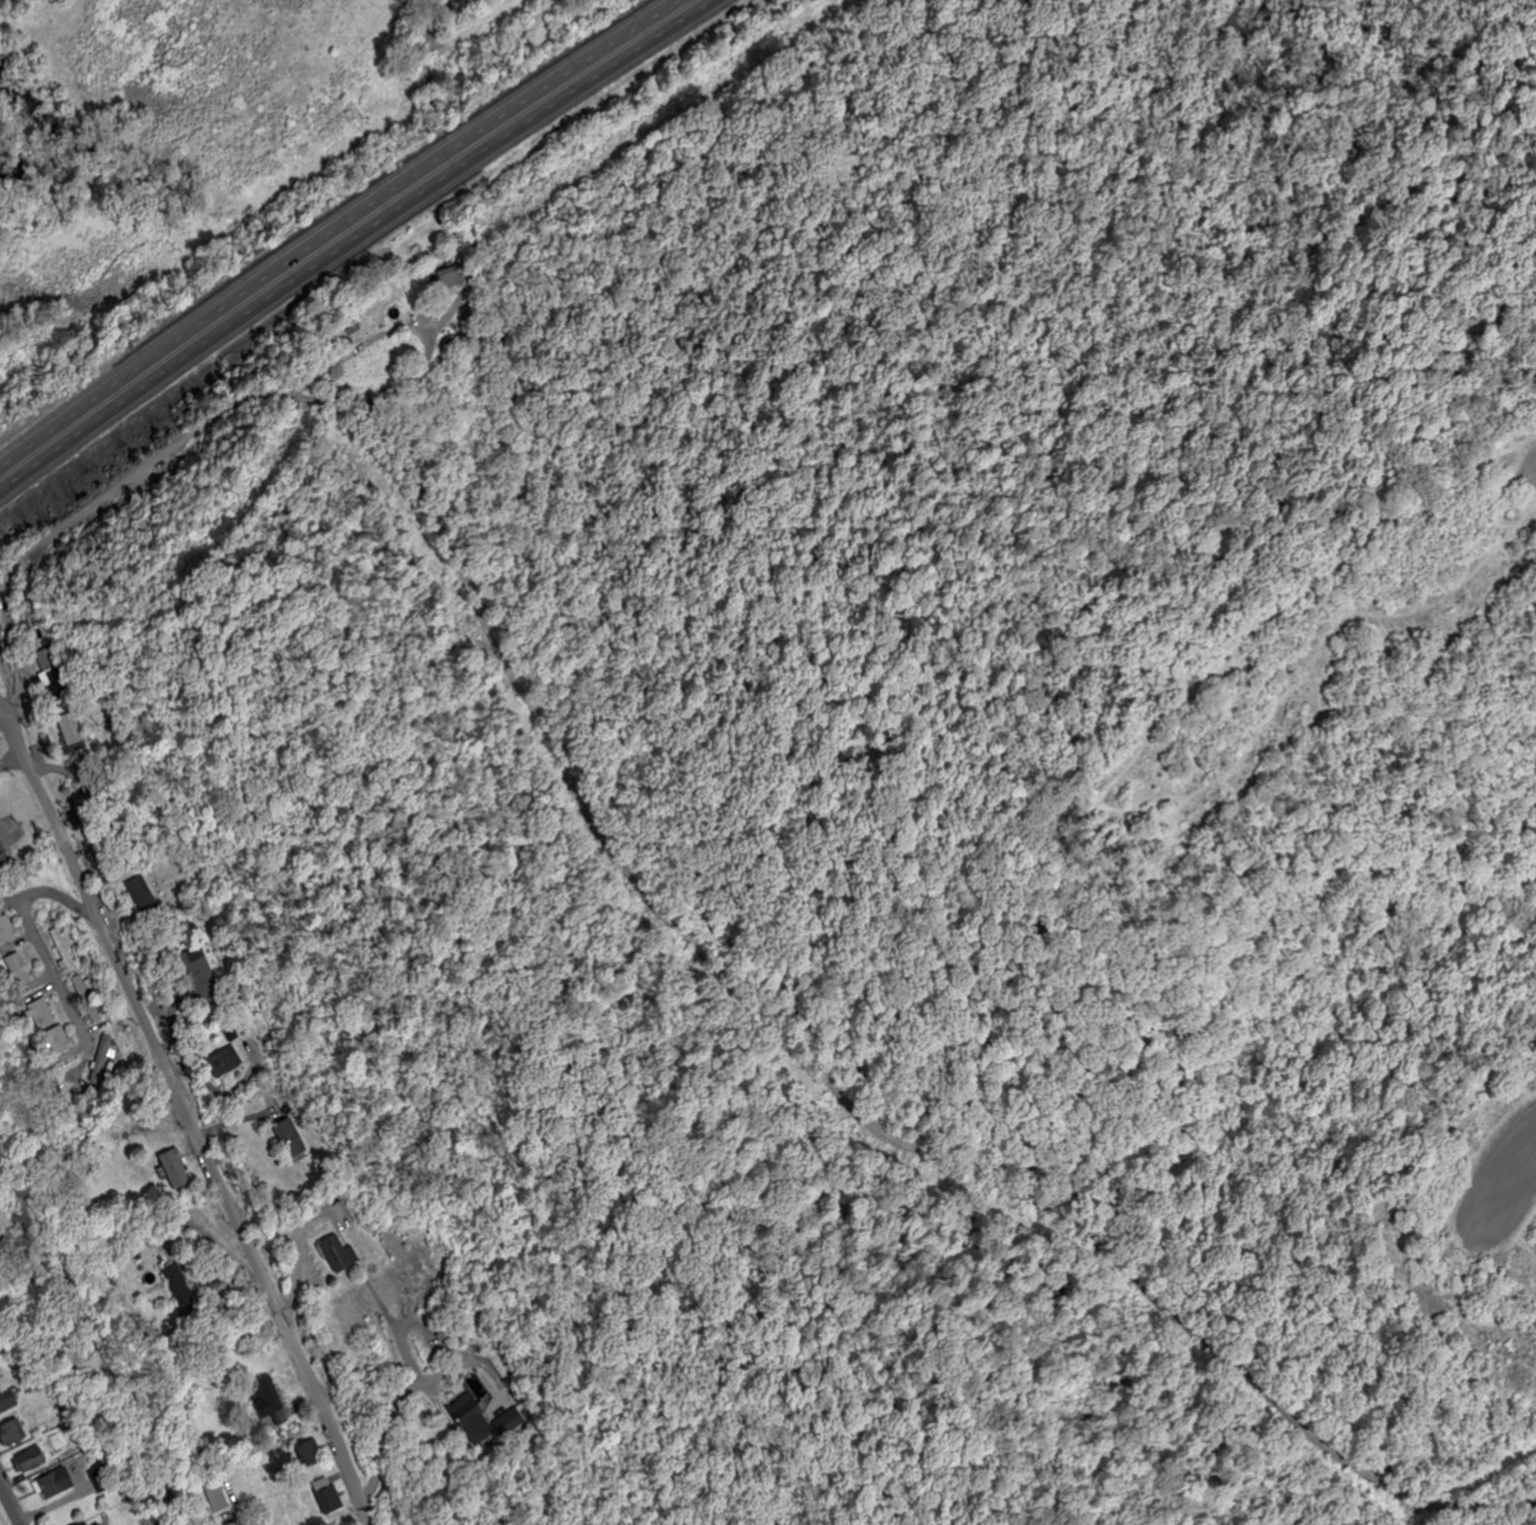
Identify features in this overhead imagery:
road: (335, 227)
road: (354, 241)
building: (451, 277)
road: (223, 425)
building: (0, 641)
building: (45, 660)
road: (3, 696)
building: (143, 893)
building: (8, 930)
road: (36, 931)
building: (67, 950)
building: (197, 966)
building: (20, 970)
building: (93, 999)
building: (40, 1013)
building: (59, 1041)
building: (103, 1060)
building: (224, 1063)
road: (187, 1112)
building: (290, 1139)
building: (175, 1166)
building: (339, 1253)
road: (292, 1257)
building: (173, 1273)
building: (267, 1397)
building: (7, 1400)
road: (387, 1417)
building: (472, 1418)
building: (12, 1432)
building: (312, 1453)
building: (31, 1460)
building: (54, 1484)
building: (329, 1496)
building: (217, 1497)
road: (10, 1503)
building: (84, 1524)
building: (101, 1524)

